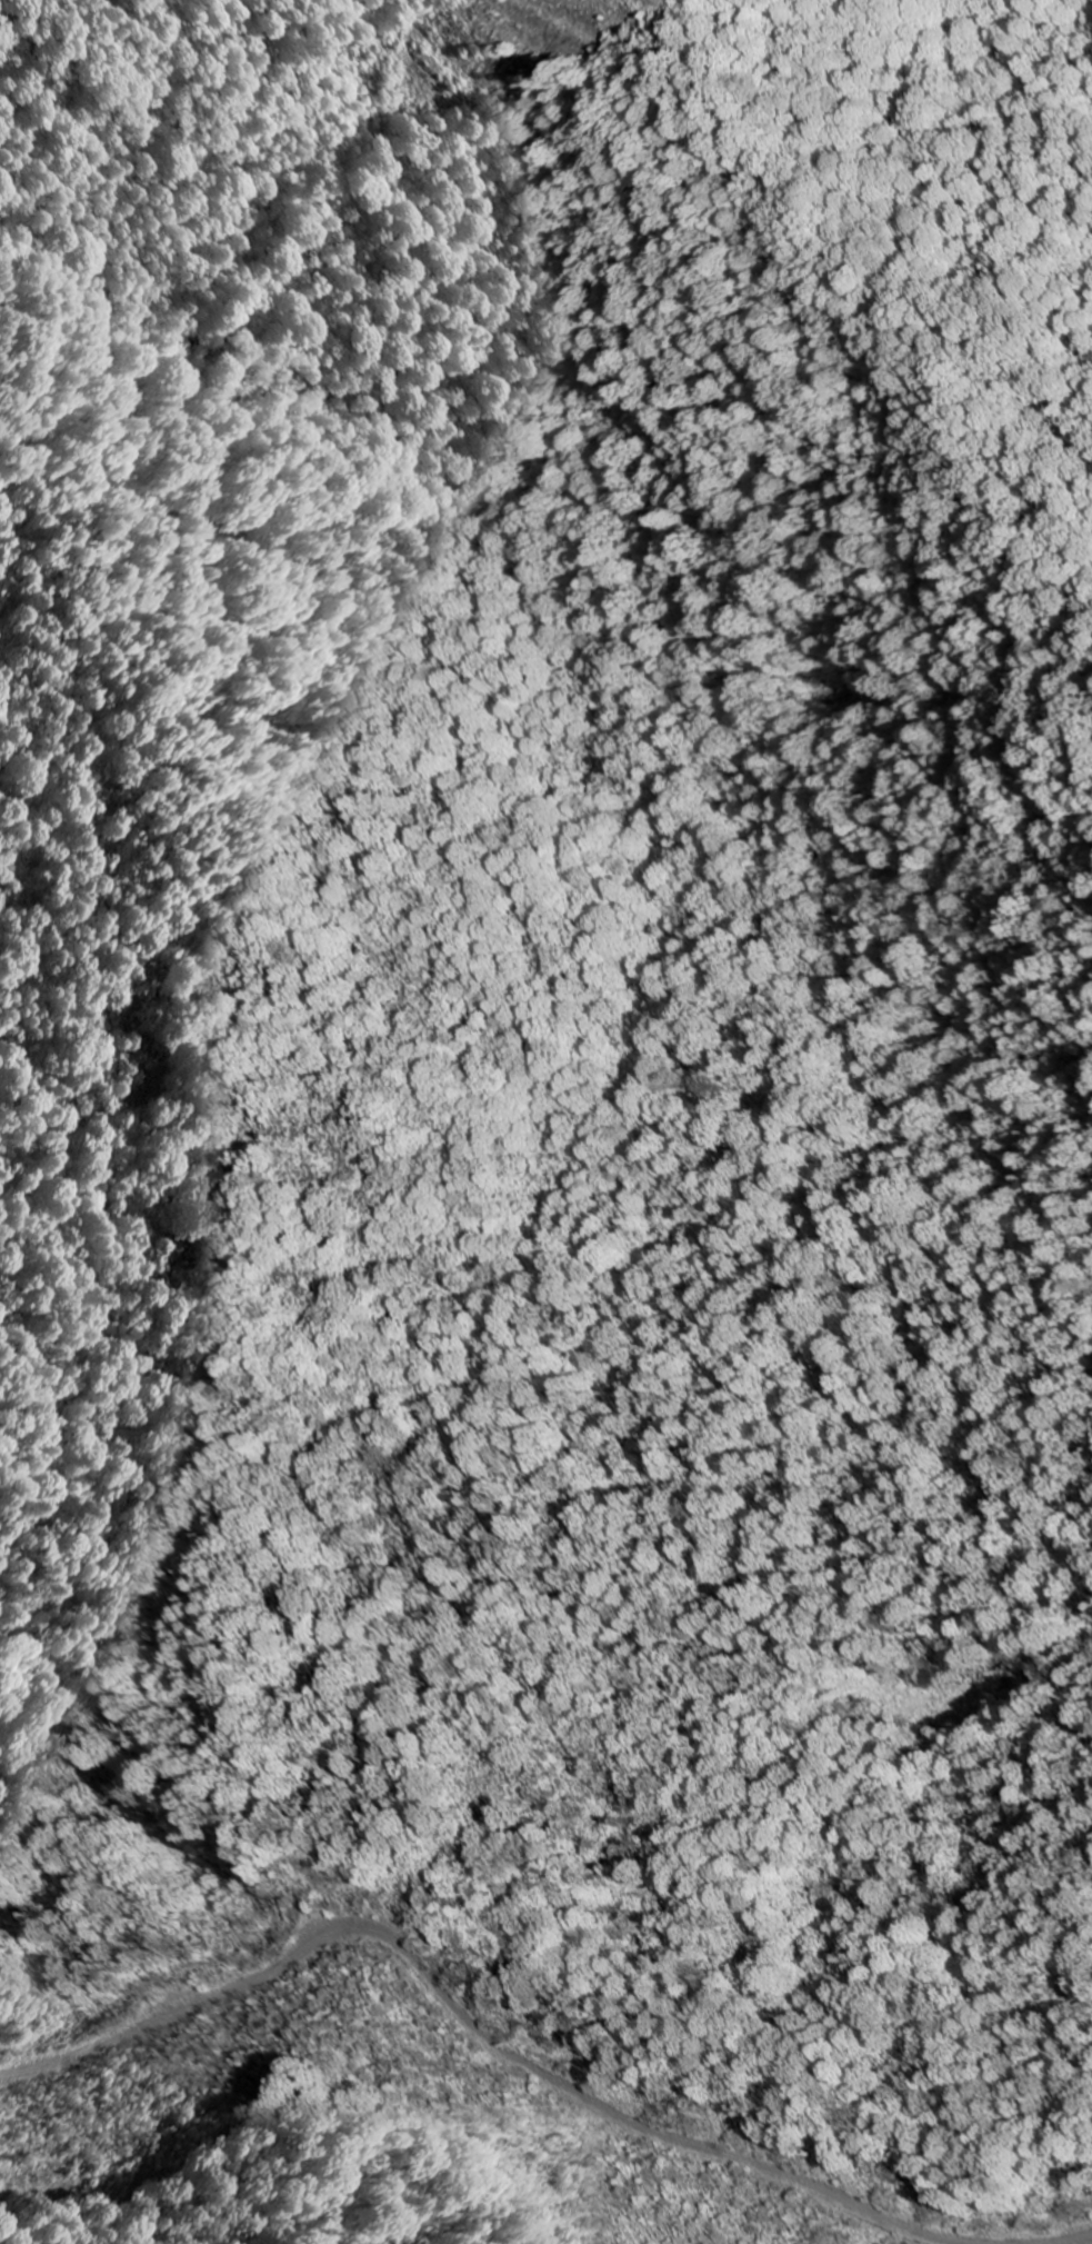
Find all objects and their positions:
road: (333, 2064)

